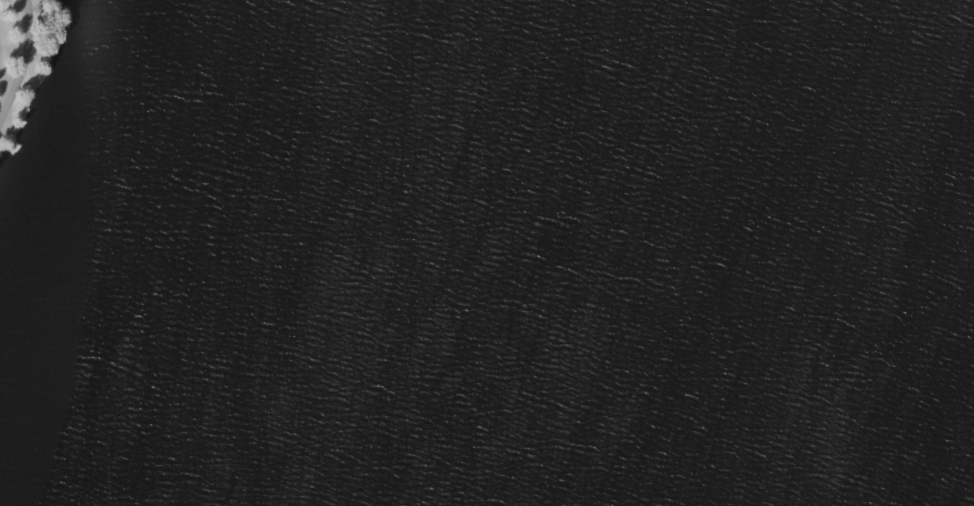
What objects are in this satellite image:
road: (23, 61)
park: (487, 253)

